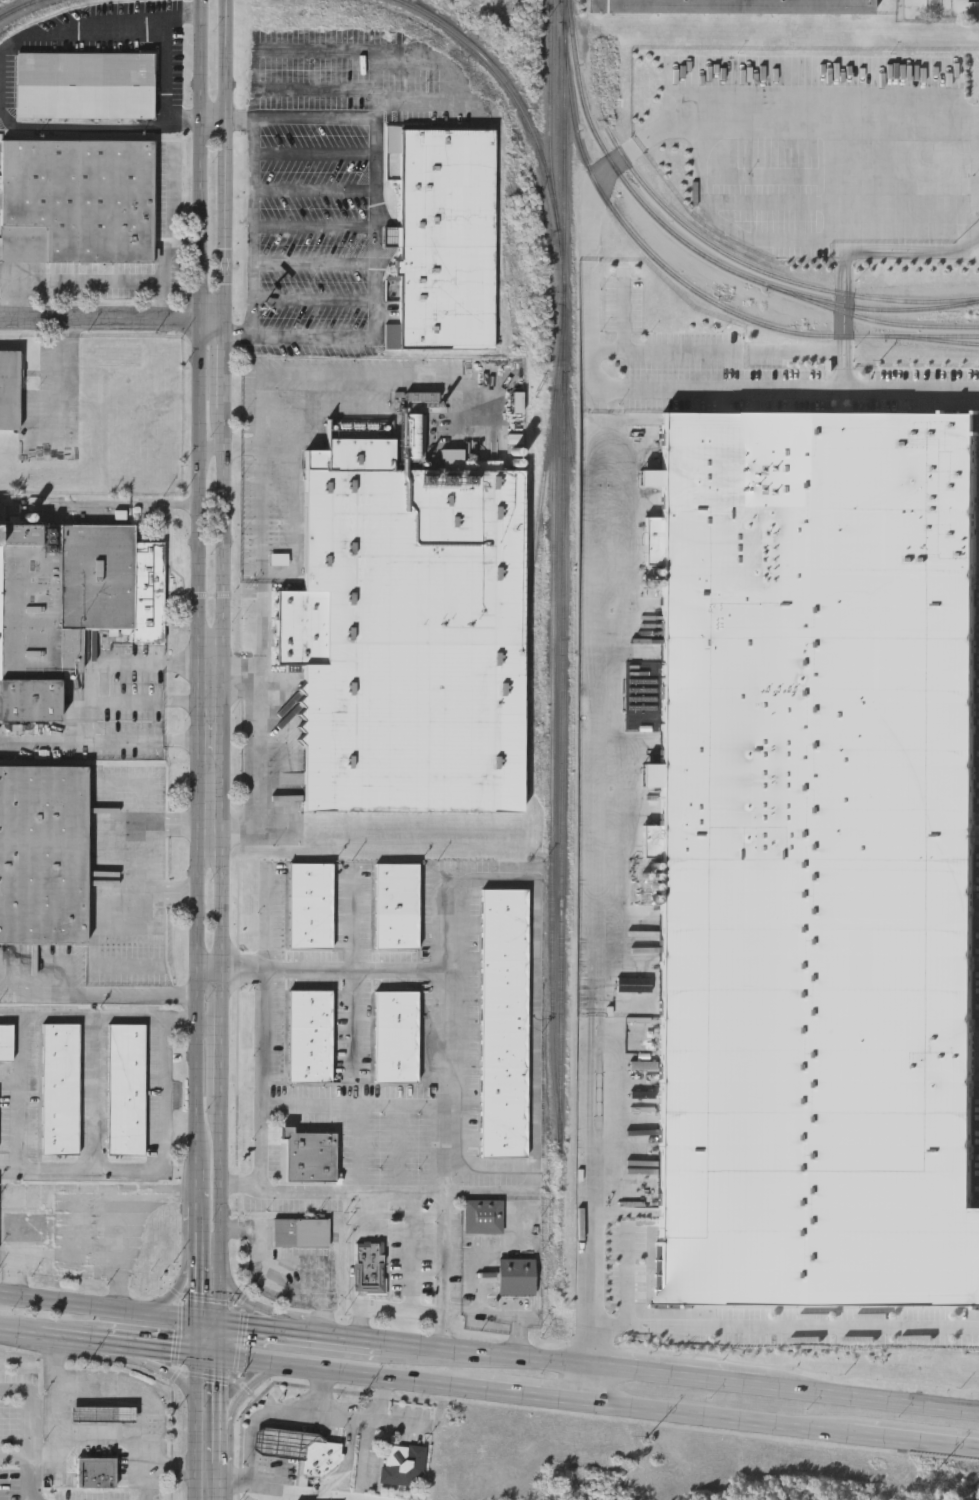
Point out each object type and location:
building: (734, 7)
railway: (17, 8)
road: (79, 34)
road: (446, 61)
road: (165, 68)
road: (254, 71)
building: (84, 83)
railway: (549, 102)
road: (212, 117)
road: (81, 127)
road: (673, 128)
road: (375, 131)
railway: (564, 141)
road: (315, 154)
parking lot: (332, 182)
road: (315, 191)
building: (76, 200)
road: (256, 212)
road: (315, 229)
building: (447, 235)
railway: (637, 238)
railway: (698, 250)
road: (847, 251)
road: (315, 265)
railway: (762, 269)
railway: (563, 280)
road: (139, 282)
road: (314, 296)
road: (163, 303)
railway: (881, 306)
road: (99, 321)
road: (211, 324)
road: (238, 336)
road: (334, 336)
railway: (901, 336)
railway: (943, 339)
road: (355, 375)
road: (63, 379)
building: (9, 386)
road: (912, 388)
road: (717, 389)
road: (295, 432)
road: (261, 558)
railway: (533, 558)
road: (196, 585)
building: (70, 599)
building: (407, 630)
road: (133, 662)
road: (221, 678)
road: (113, 702)
road: (192, 703)
road: (42, 740)
road: (96, 741)
road: (192, 742)
railway: (554, 769)
road: (256, 826)
building: (43, 852)
road: (589, 856)
building: (821, 860)
building: (309, 905)
building: (396, 905)
road: (265, 919)
road: (536, 944)
railway: (560, 956)
road: (46, 993)
road: (121, 993)
road: (11, 1017)
road: (353, 1019)
building: (503, 1021)
road: (177, 1023)
building: (309, 1035)
building: (395, 1036)
building: (6, 1040)
road: (11, 1078)
road: (259, 1079)
building: (61, 1086)
building: (126, 1087)
road: (164, 1096)
road: (355, 1106)
road: (93, 1109)
building: (306, 1155)
road: (448, 1162)
road: (194, 1191)
road: (374, 1191)
building: (482, 1214)
building: (300, 1231)
road: (194, 1245)
road: (68, 1264)
building: (369, 1265)
building: (516, 1275)
road: (181, 1282)
road: (194, 1300)
road: (381, 1302)
road: (257, 1306)
road: (108, 1309)
road: (465, 1311)
traffic signals: (195, 1321)
road: (765, 1324)
traffic signals: (217, 1325)
road: (263, 1331)
road: (16, 1334)
road: (56, 1338)
road: (347, 1340)
road: (95, 1342)
building: (812, 1345)
road: (152, 1349)
traffic signals: (195, 1354)
road: (487, 1354)
traffic signals: (216, 1357)
road: (158, 1365)
road: (332, 1372)
road: (677, 1372)
road: (587, 1381)
road: (216, 1385)
road: (129, 1387)
road: (323, 1390)
road: (240, 1393)
road: (528, 1393)
road: (871, 1397)
road: (28, 1408)
road: (196, 1410)
building: (104, 1415)
road: (352, 1416)
road: (388, 1418)
road: (719, 1418)
road: (217, 1422)
road: (52, 1428)
road: (371, 1430)
road: (916, 1441)
road: (217, 1449)
building: (319, 1455)
road: (31, 1460)
building: (402, 1463)
road: (170, 1468)
building: (96, 1471)
road: (242, 1478)
road: (216, 1483)

